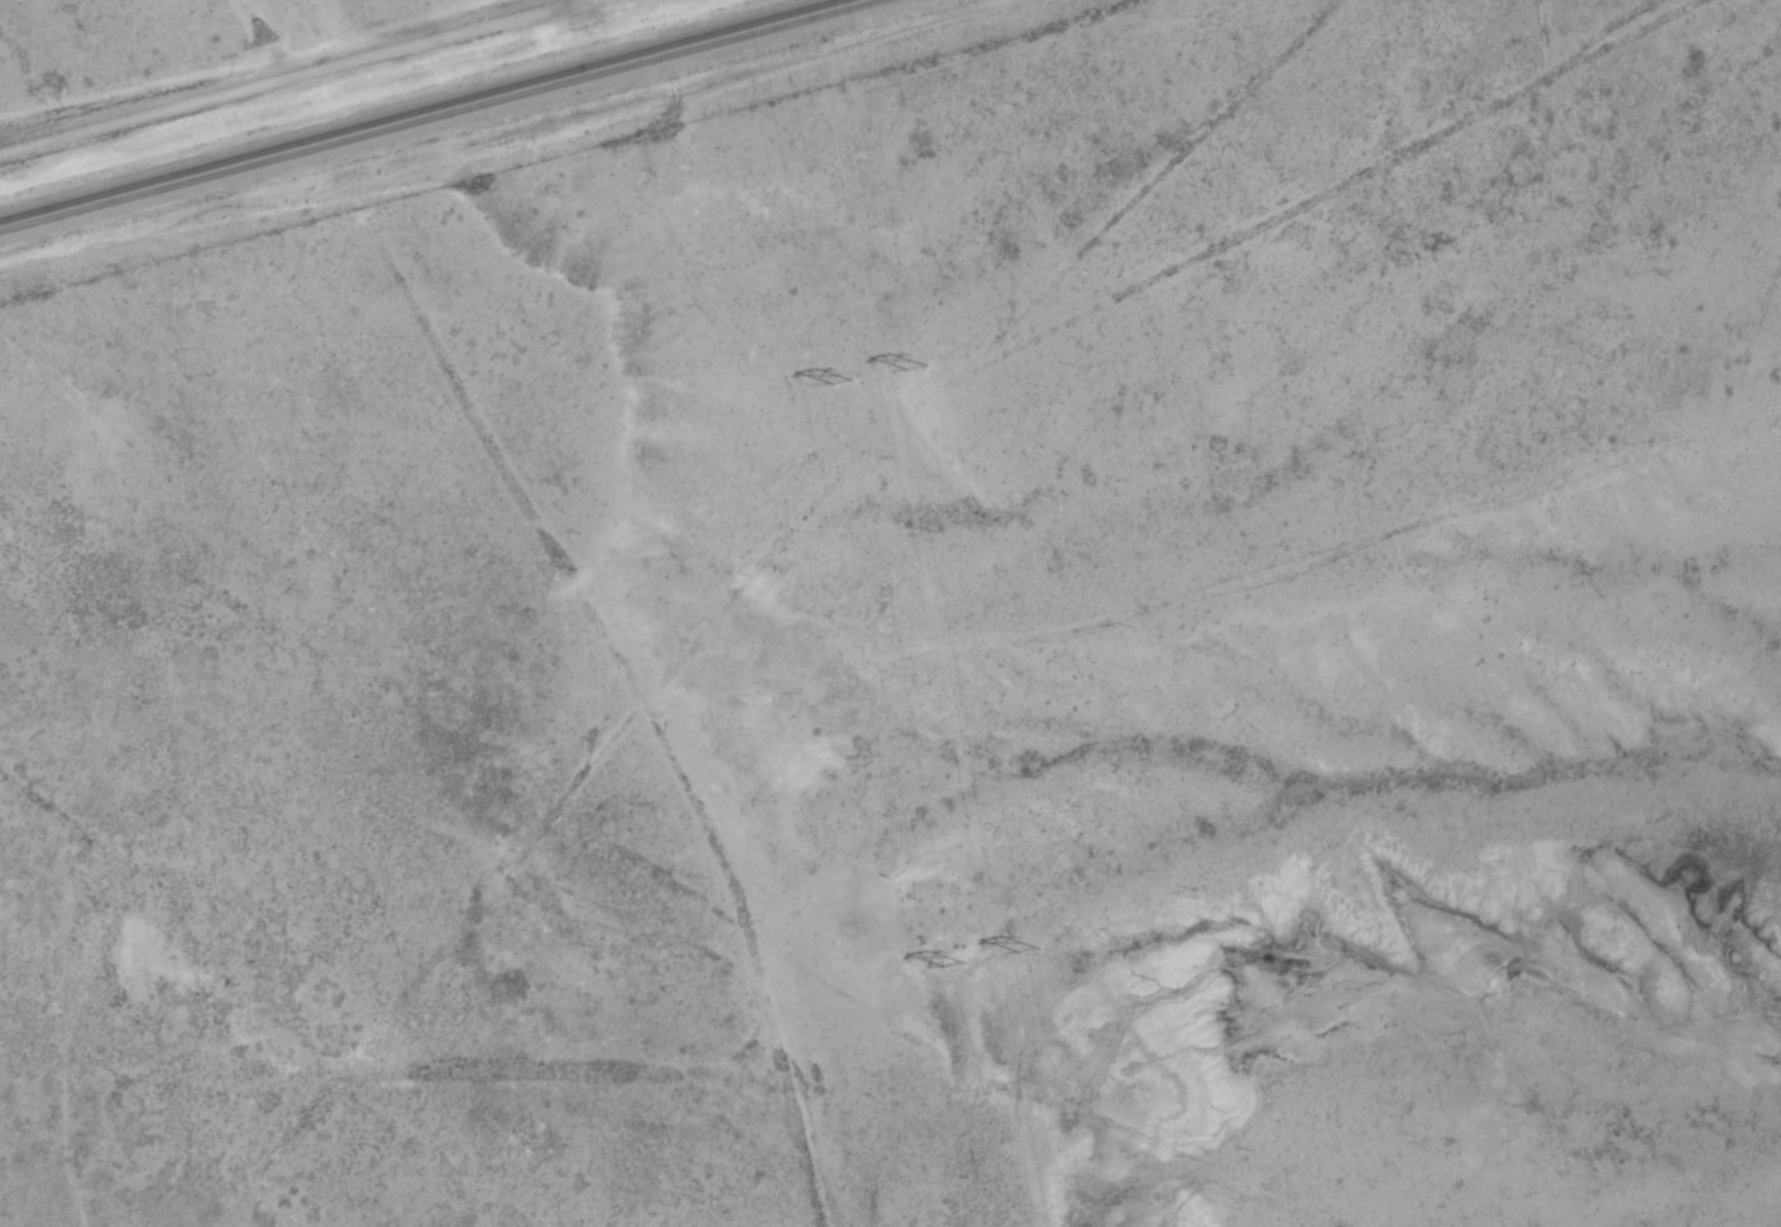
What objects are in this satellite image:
road: (323, 80)
road: (438, 119)
power tower: (914, 371)
power tower: (837, 381)
power tower: (1024, 948)
power tower: (949, 964)

